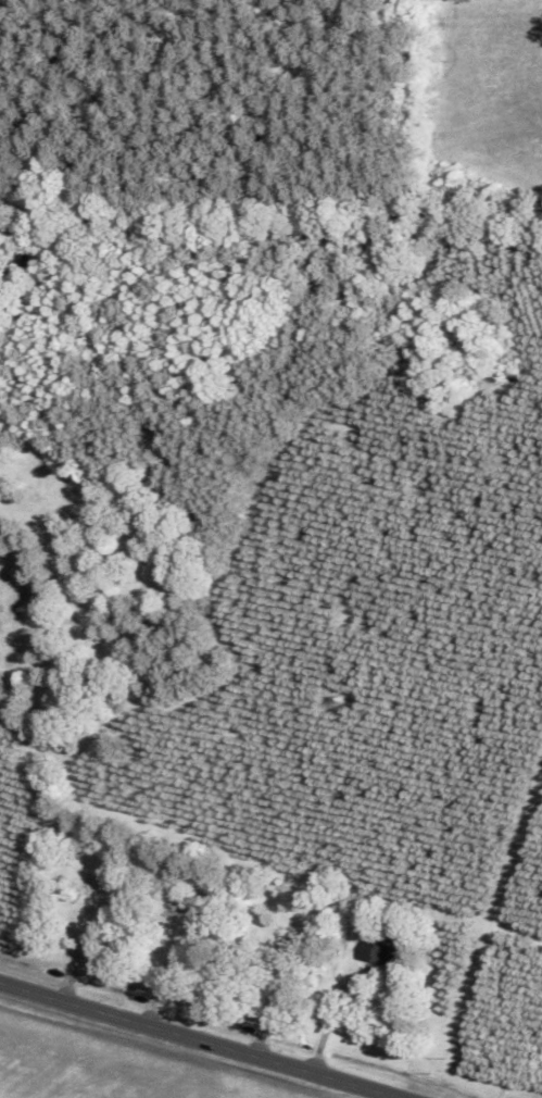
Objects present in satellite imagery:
building: (90, 891)
building: (383, 953)
road: (207, 1037)

